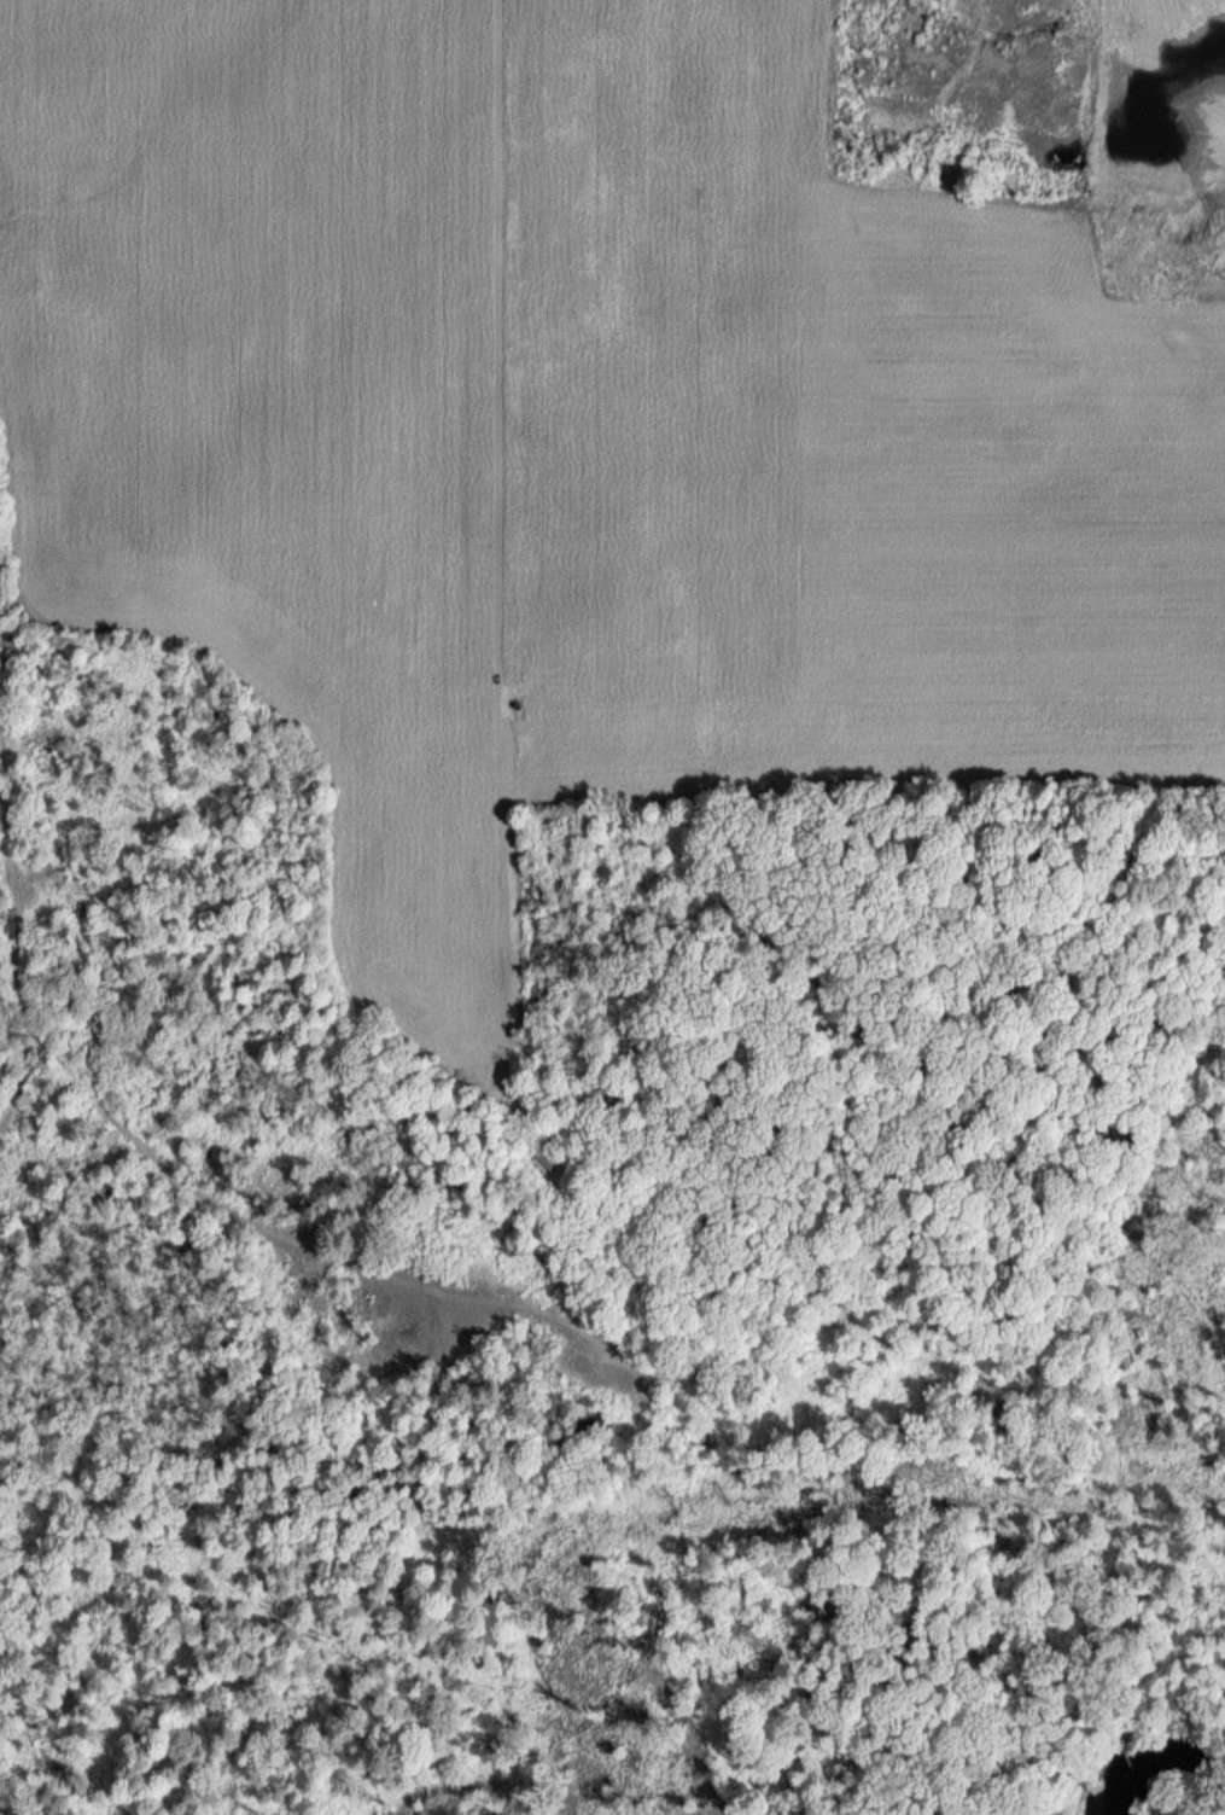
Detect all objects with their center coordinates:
crop: (290, 435)
crop: (836, 449)

